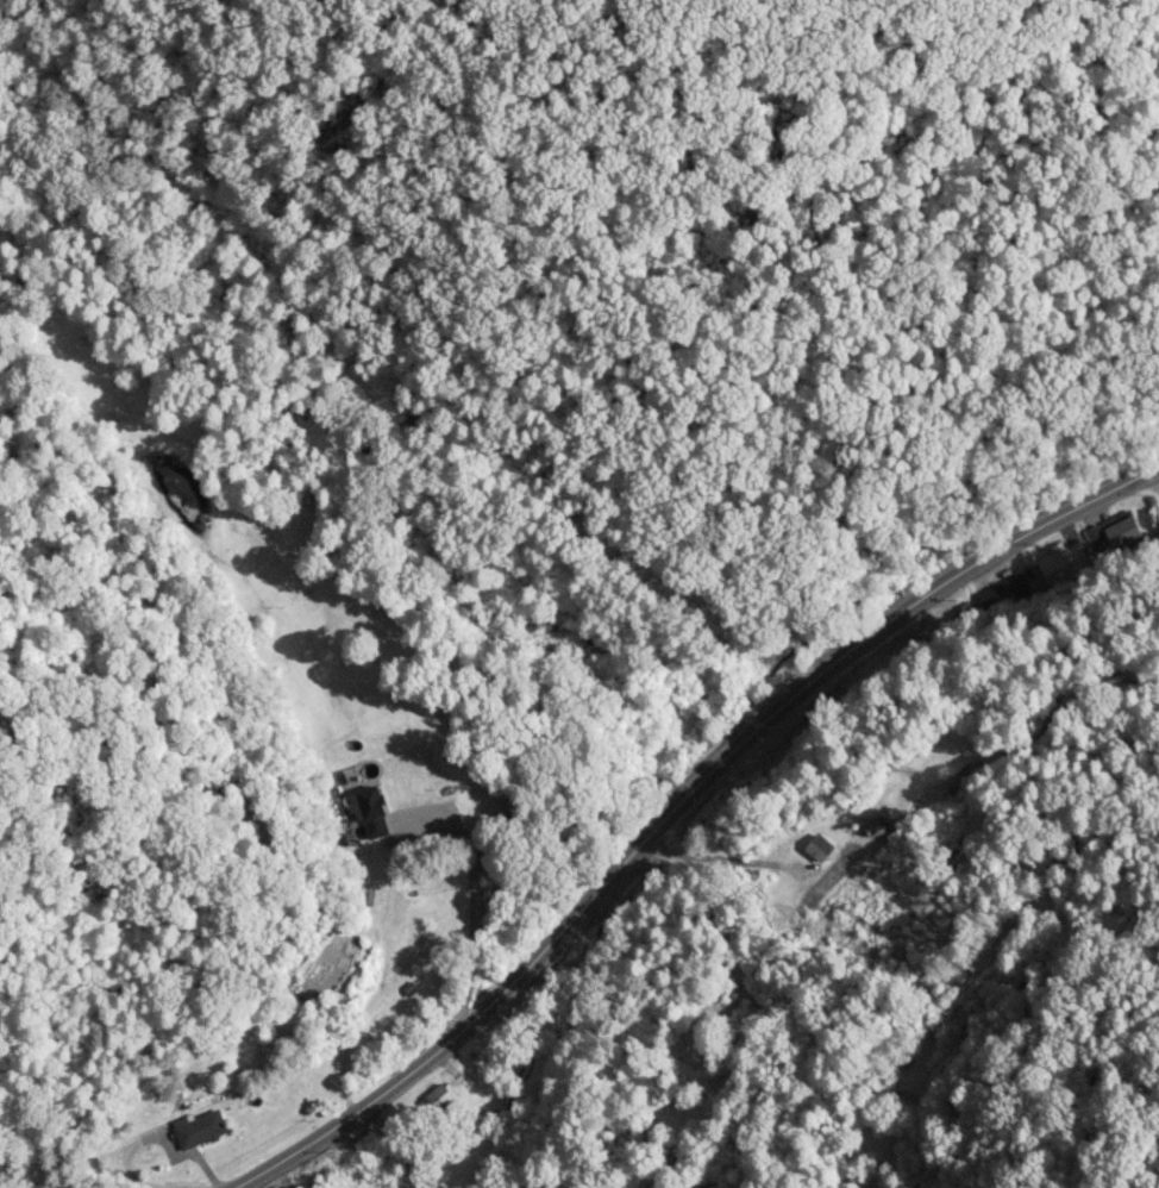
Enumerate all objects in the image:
building: (1117, 537)
building: (405, 790)
road: (670, 799)
building: (816, 849)
road: (472, 925)
building: (471, 1067)
building: (196, 1131)

